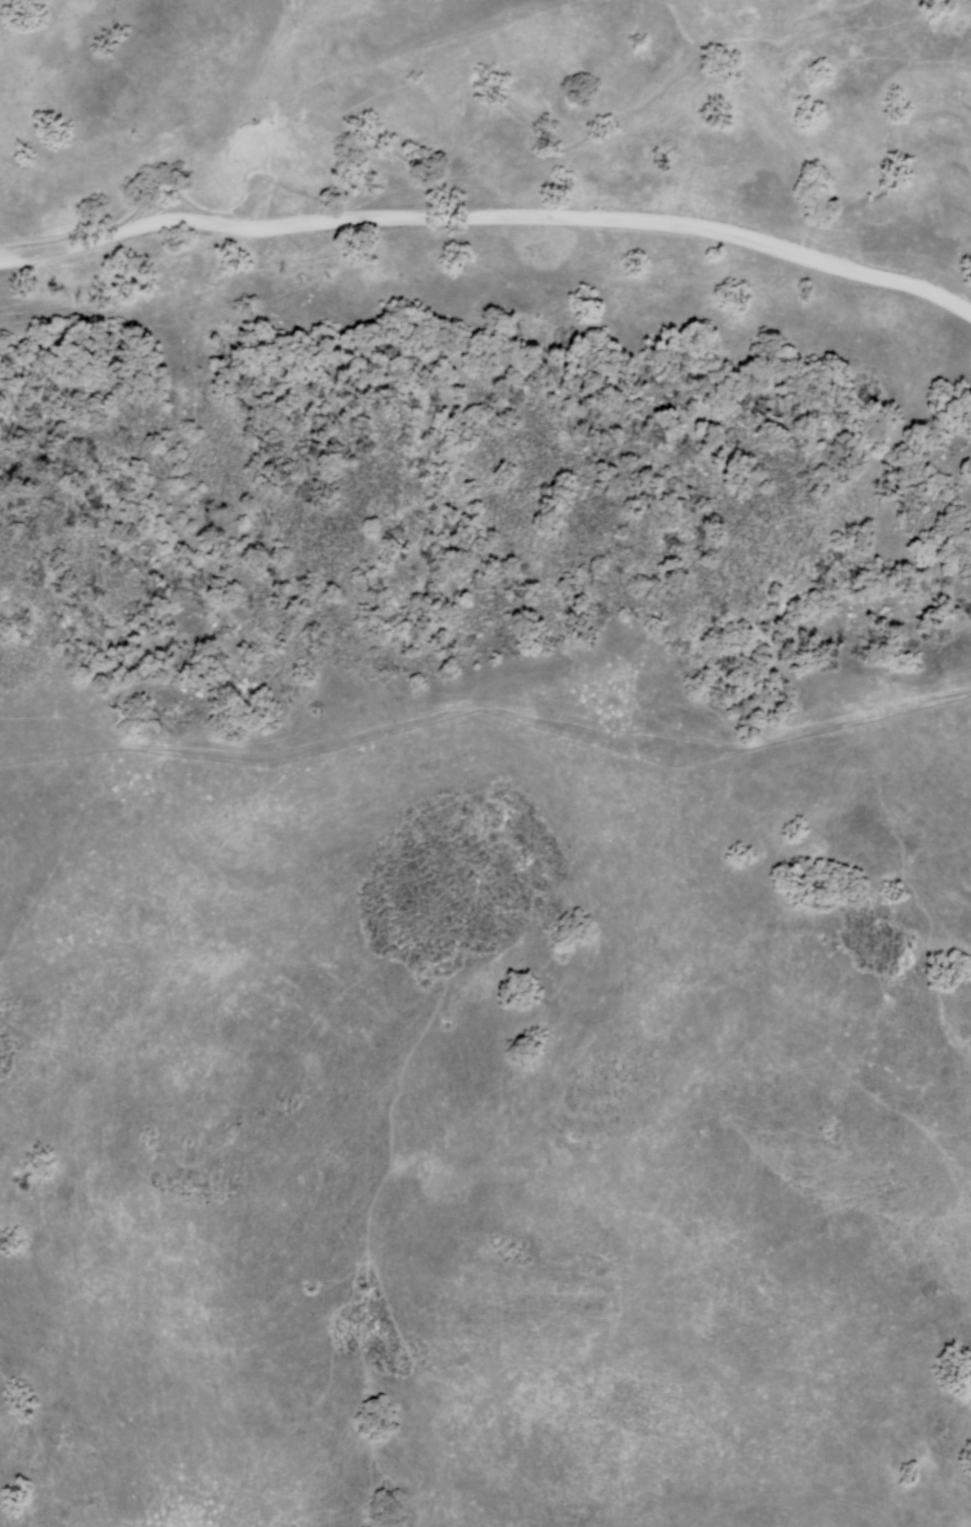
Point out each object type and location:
road: (490, 209)

